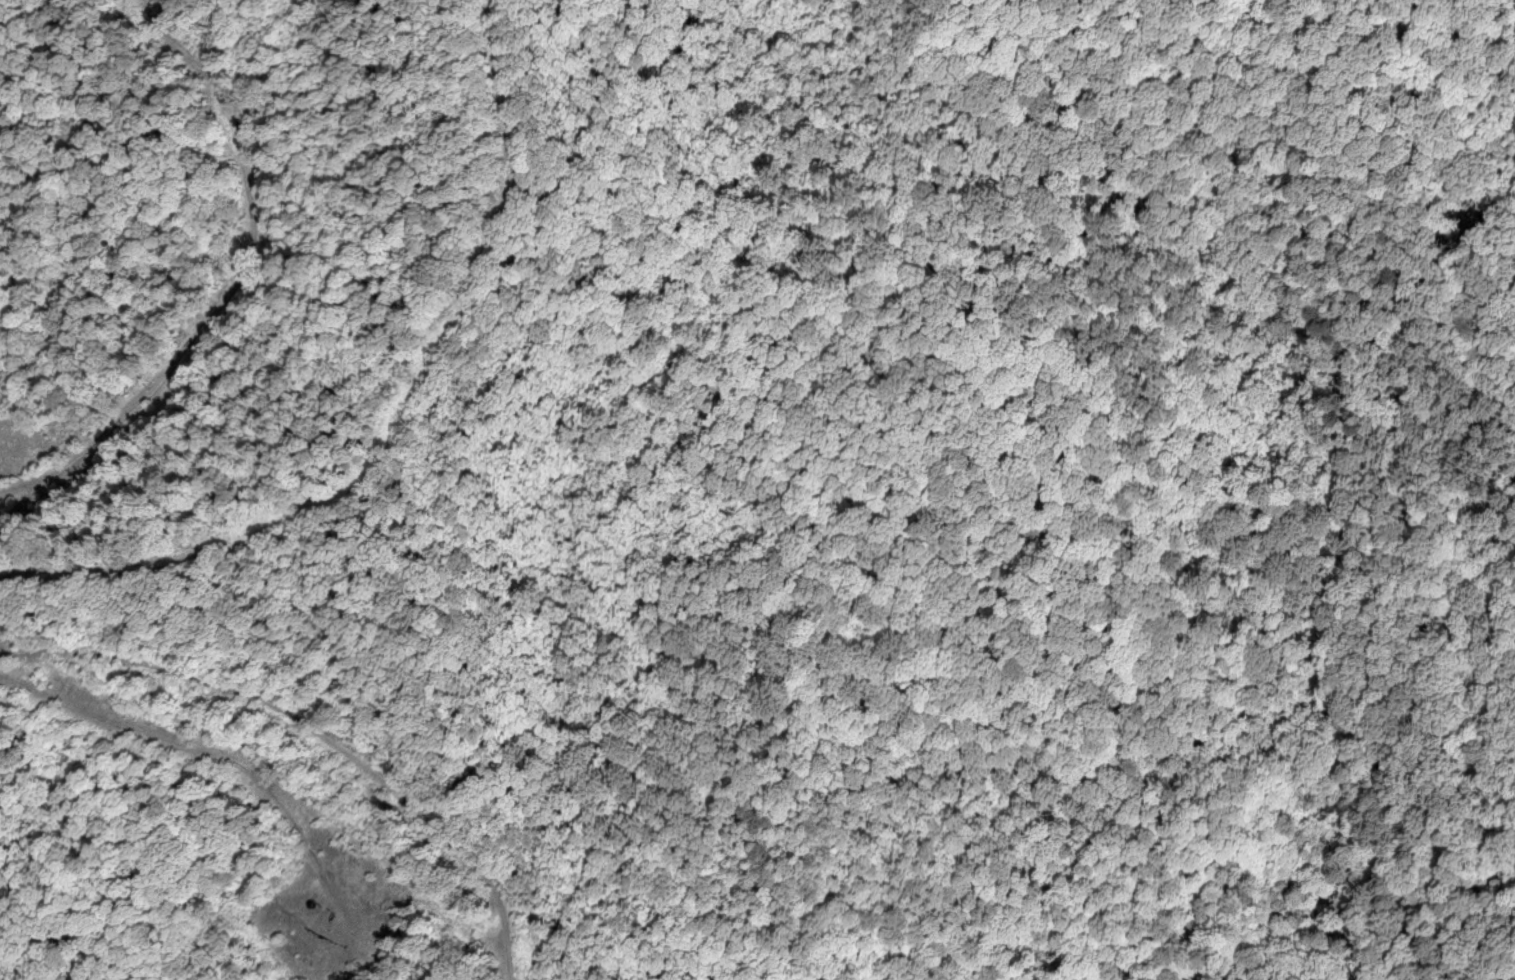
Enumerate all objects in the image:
road: (275, 735)

